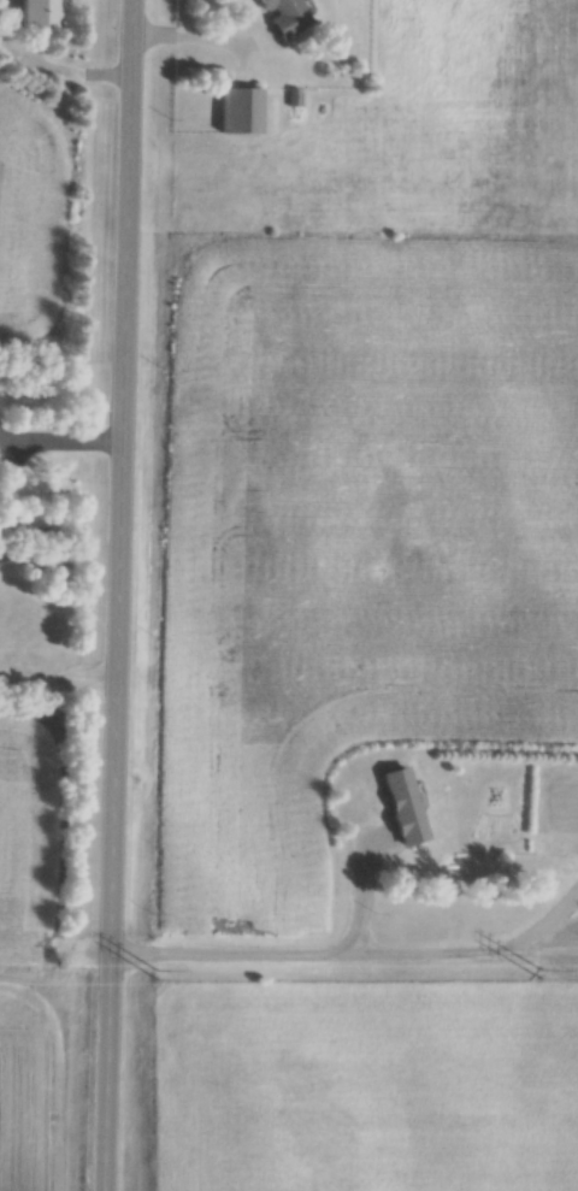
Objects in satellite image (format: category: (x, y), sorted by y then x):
crop: (28, 226)
road: (118, 595)
crop: (28, 848)
road: (285, 953)
power tower: (160, 977)
power tower: (544, 977)
crop: (29, 1091)

